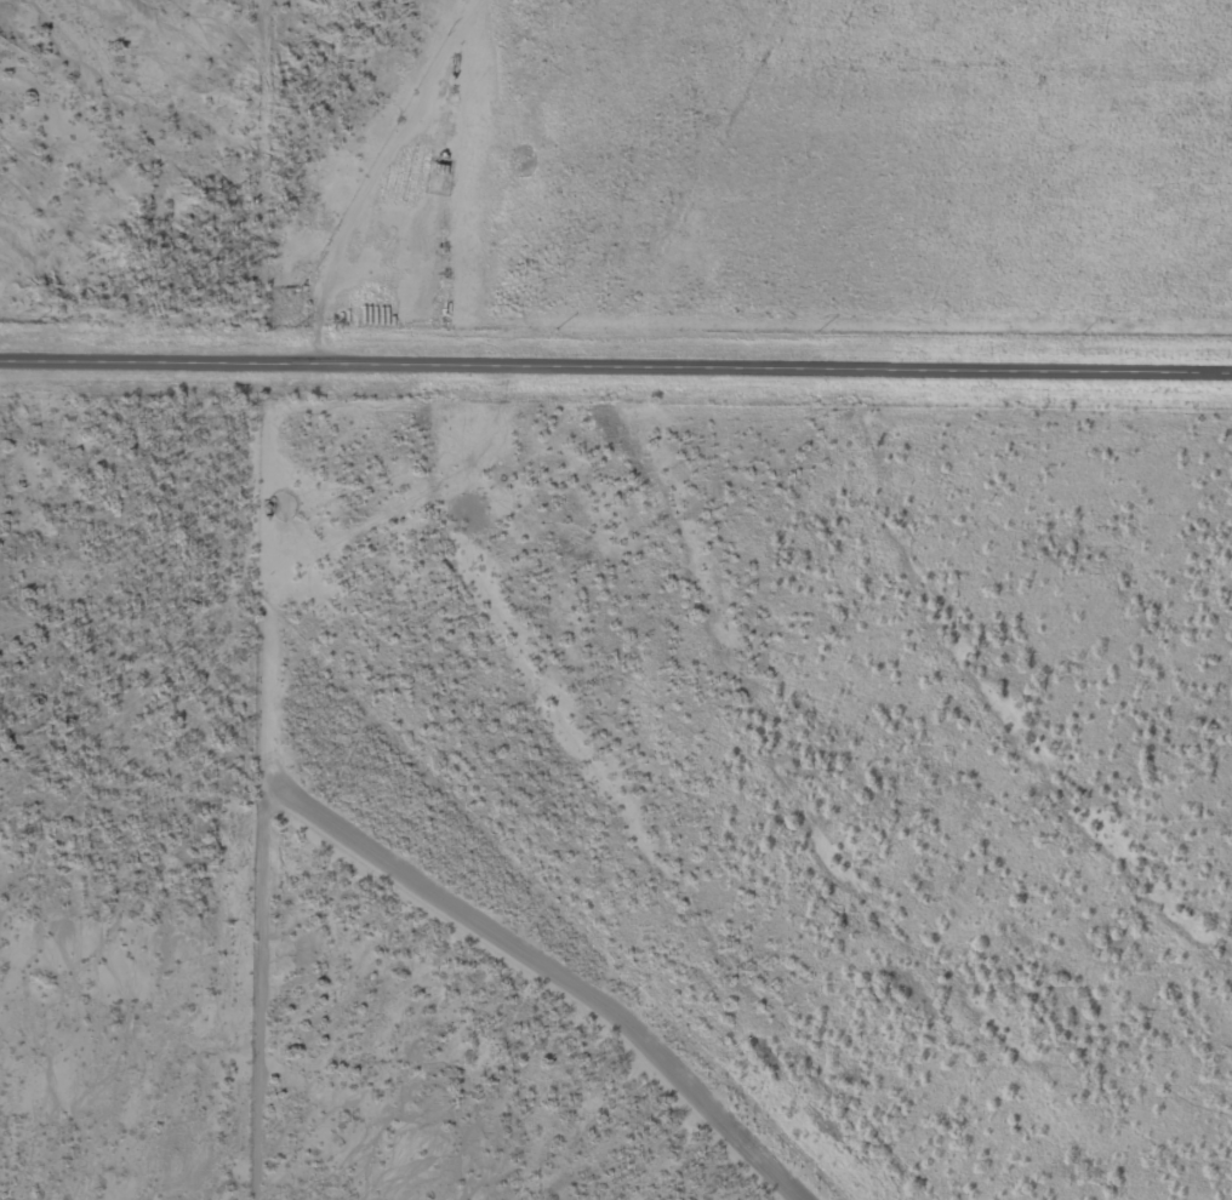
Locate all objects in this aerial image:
road: (616, 365)

